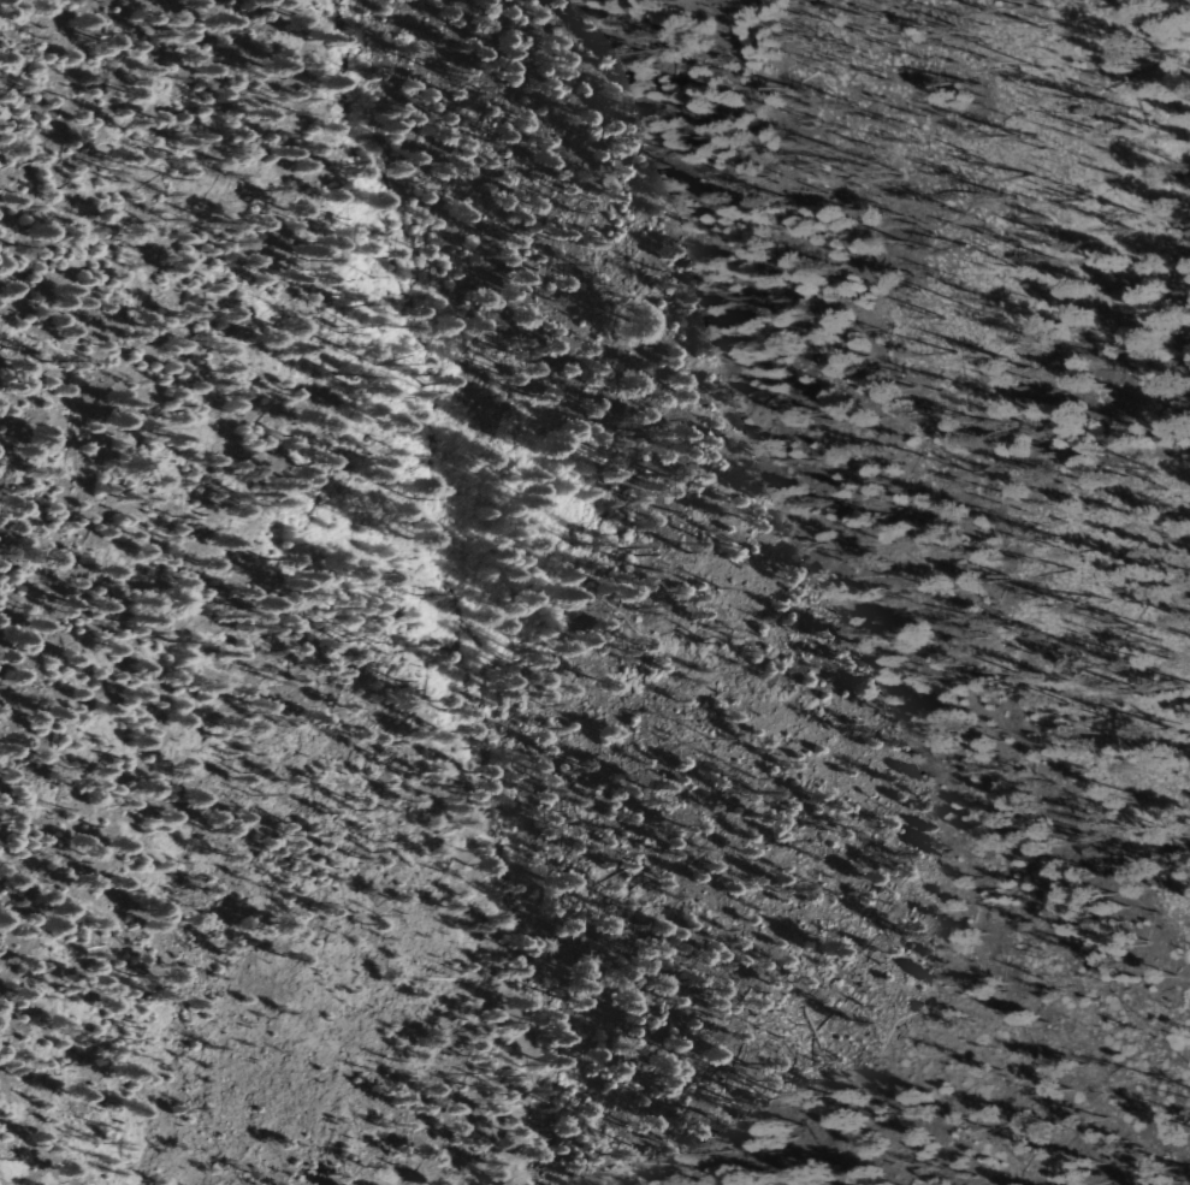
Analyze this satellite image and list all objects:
road: (917, 1008)
road: (46, 1151)
road: (354, 1169)

